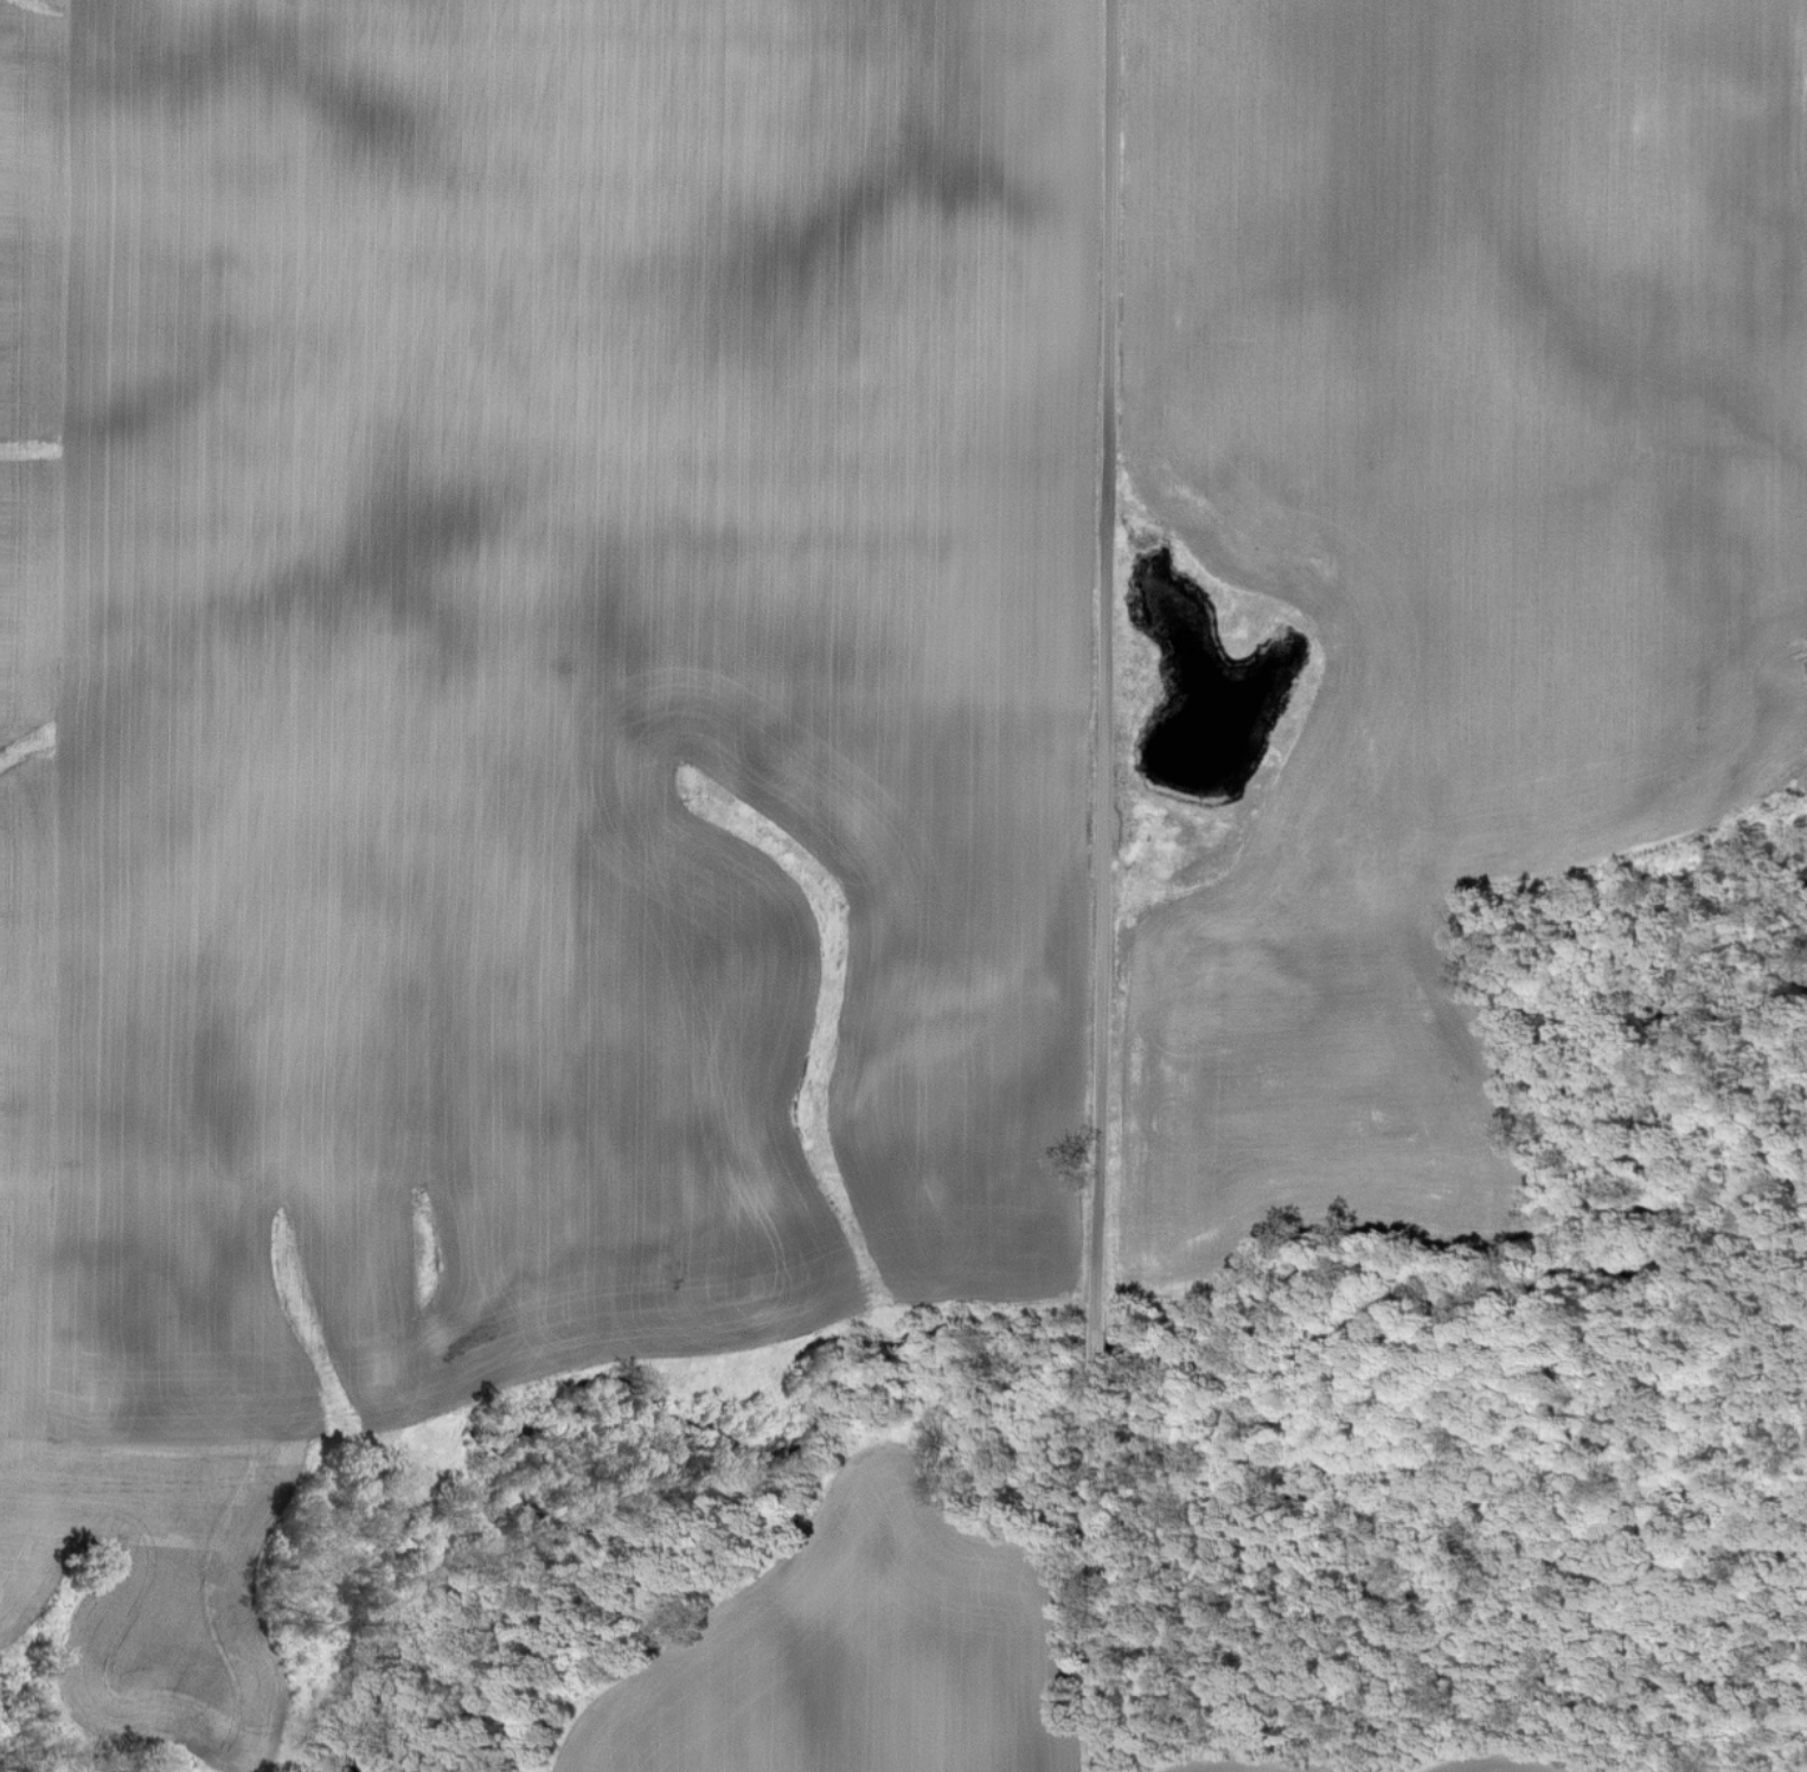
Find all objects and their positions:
road: (1109, 886)

